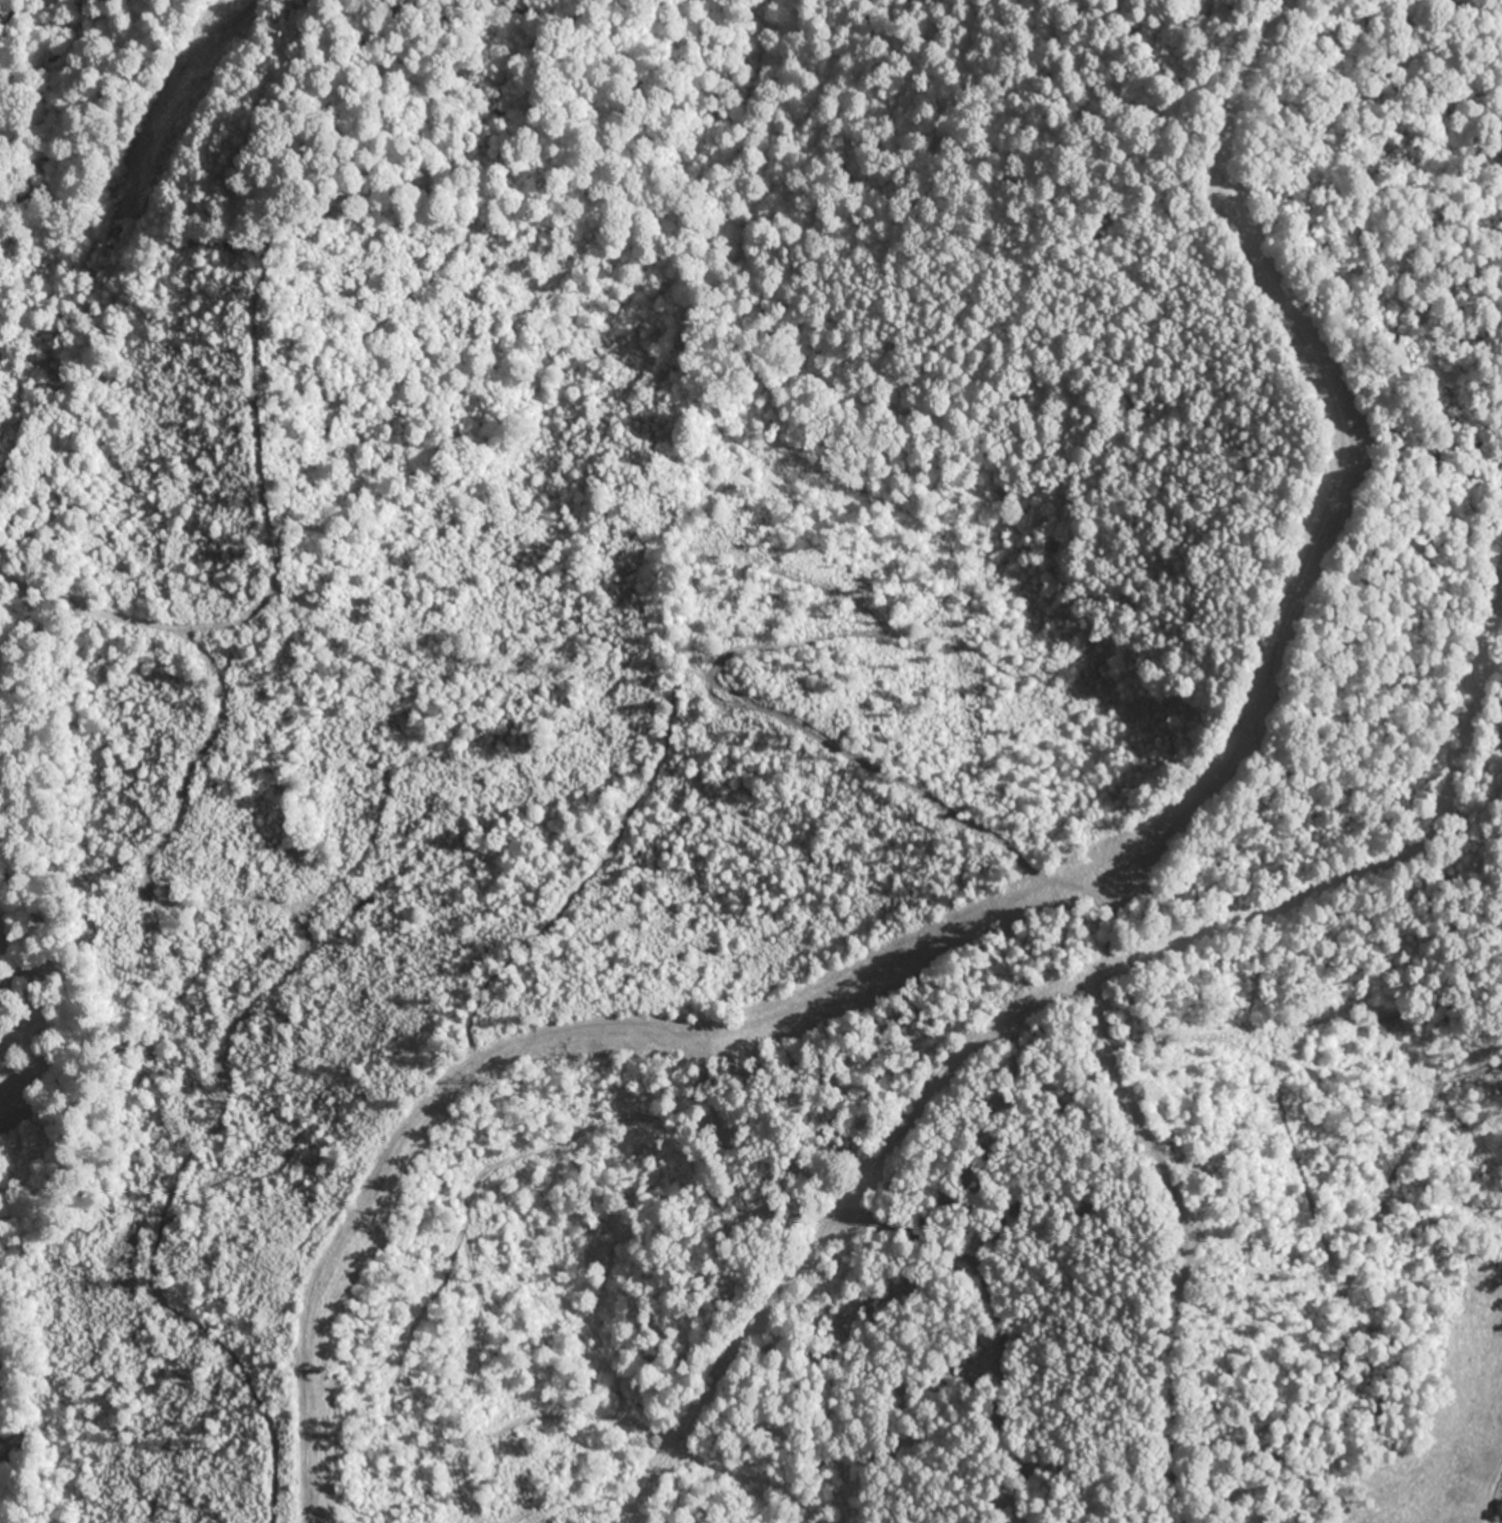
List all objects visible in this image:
power tower: (198, 75)

